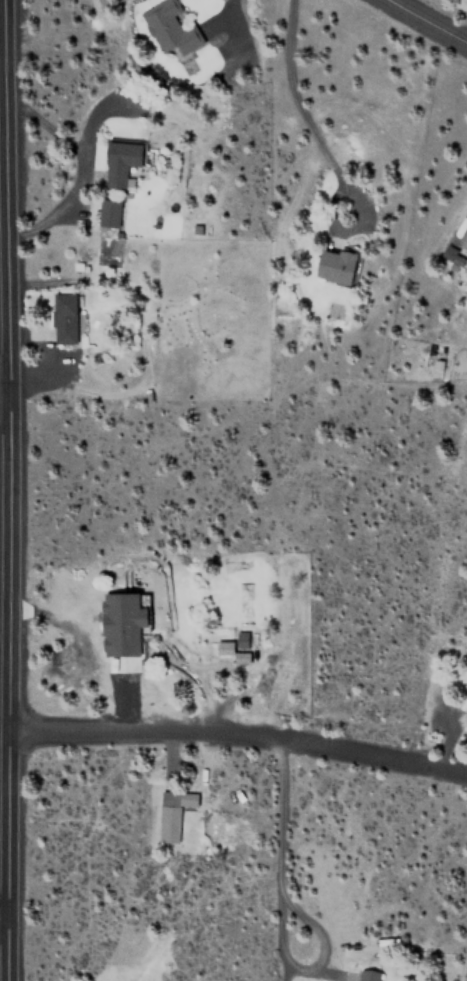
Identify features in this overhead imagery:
road: (427, 20)
building: (168, 27)
building: (119, 160)
building: (108, 211)
building: (464, 241)
building: (448, 253)
building: (336, 266)
building: (63, 318)
road: (4, 397)
road: (7, 490)
building: (243, 603)
building: (127, 621)
building: (465, 699)
road: (236, 730)
building: (172, 812)
road: (2, 910)
building: (366, 975)

